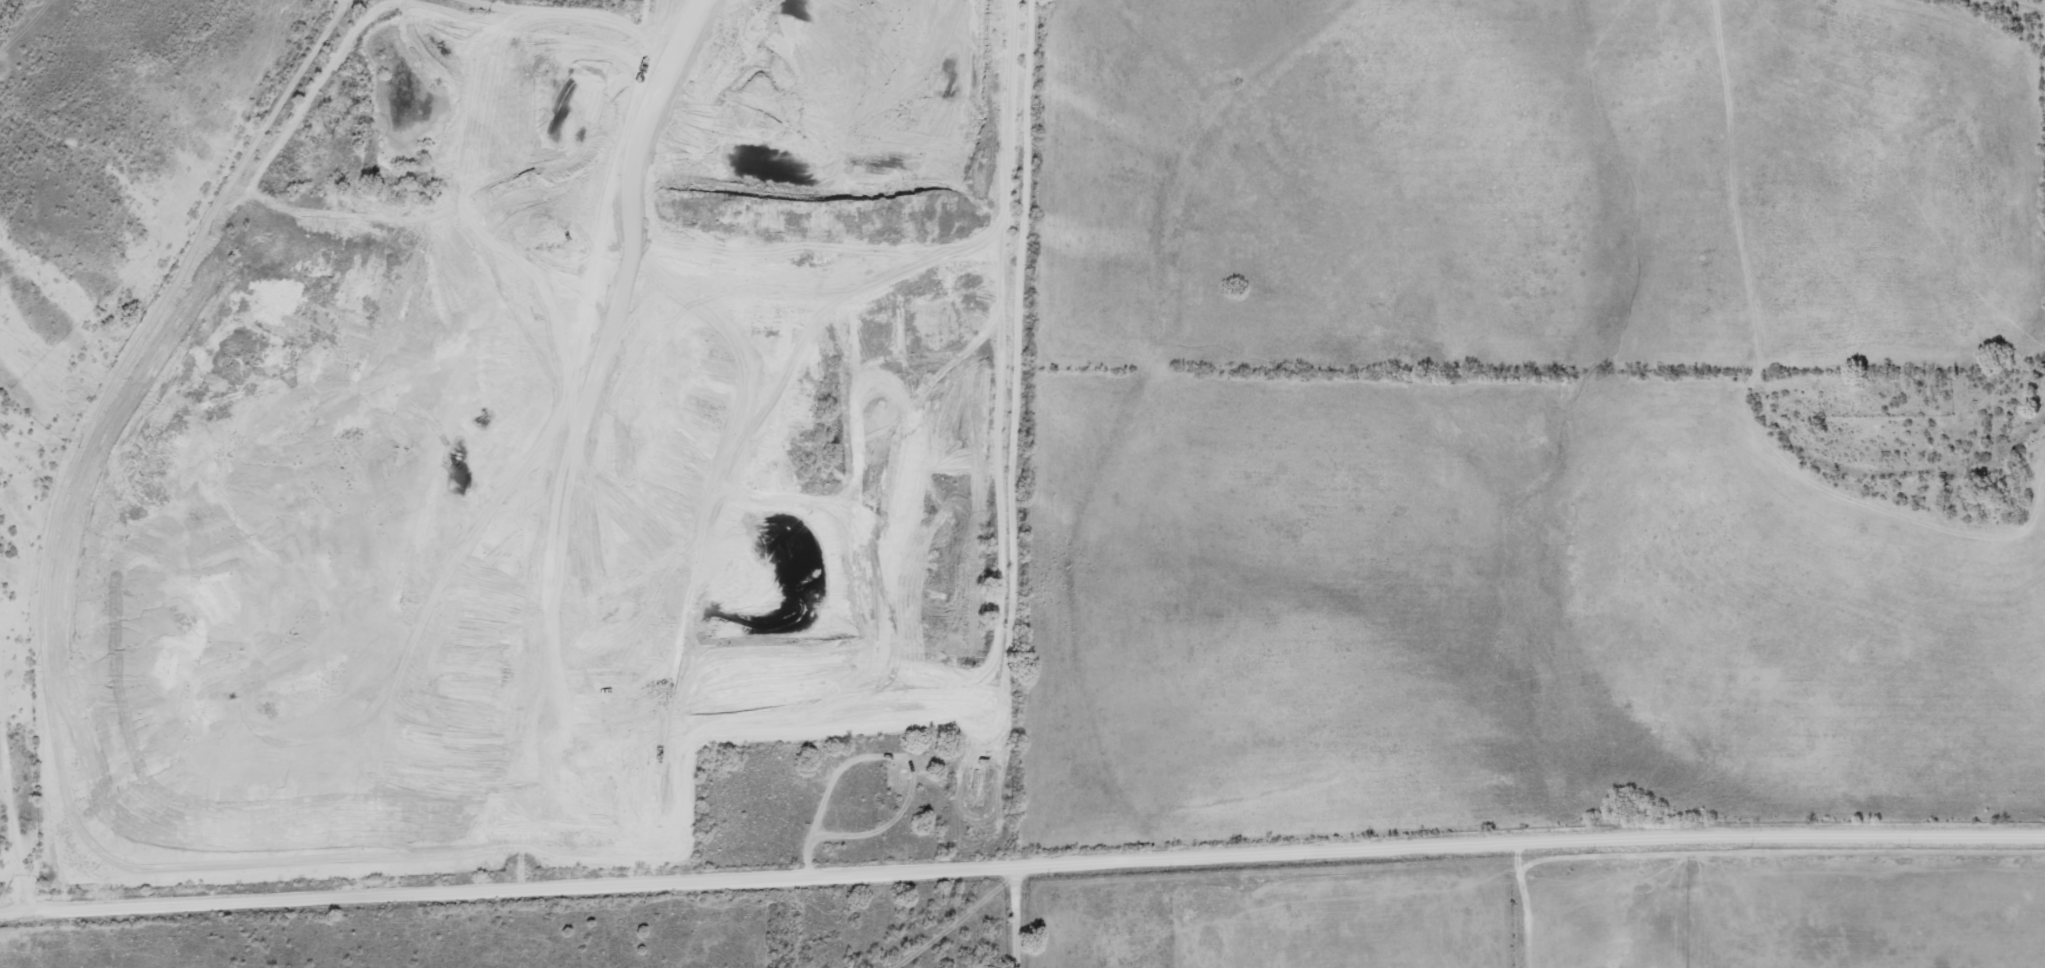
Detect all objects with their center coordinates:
building: (509, 125)
road: (612, 148)
road: (14, 789)
park: (823, 801)
road: (1022, 866)
road: (1515, 907)
road: (1013, 917)

